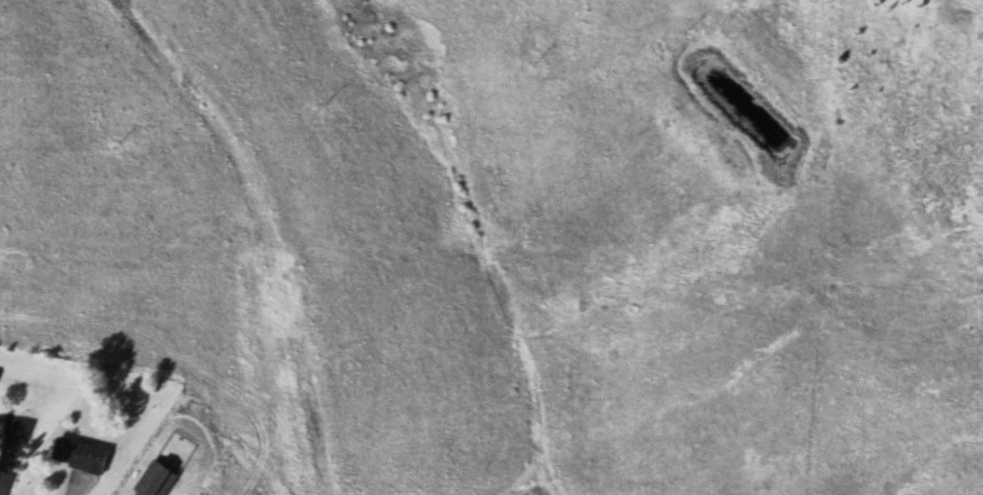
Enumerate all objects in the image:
building: (3, 419)
building: (82, 453)
building: (163, 480)

